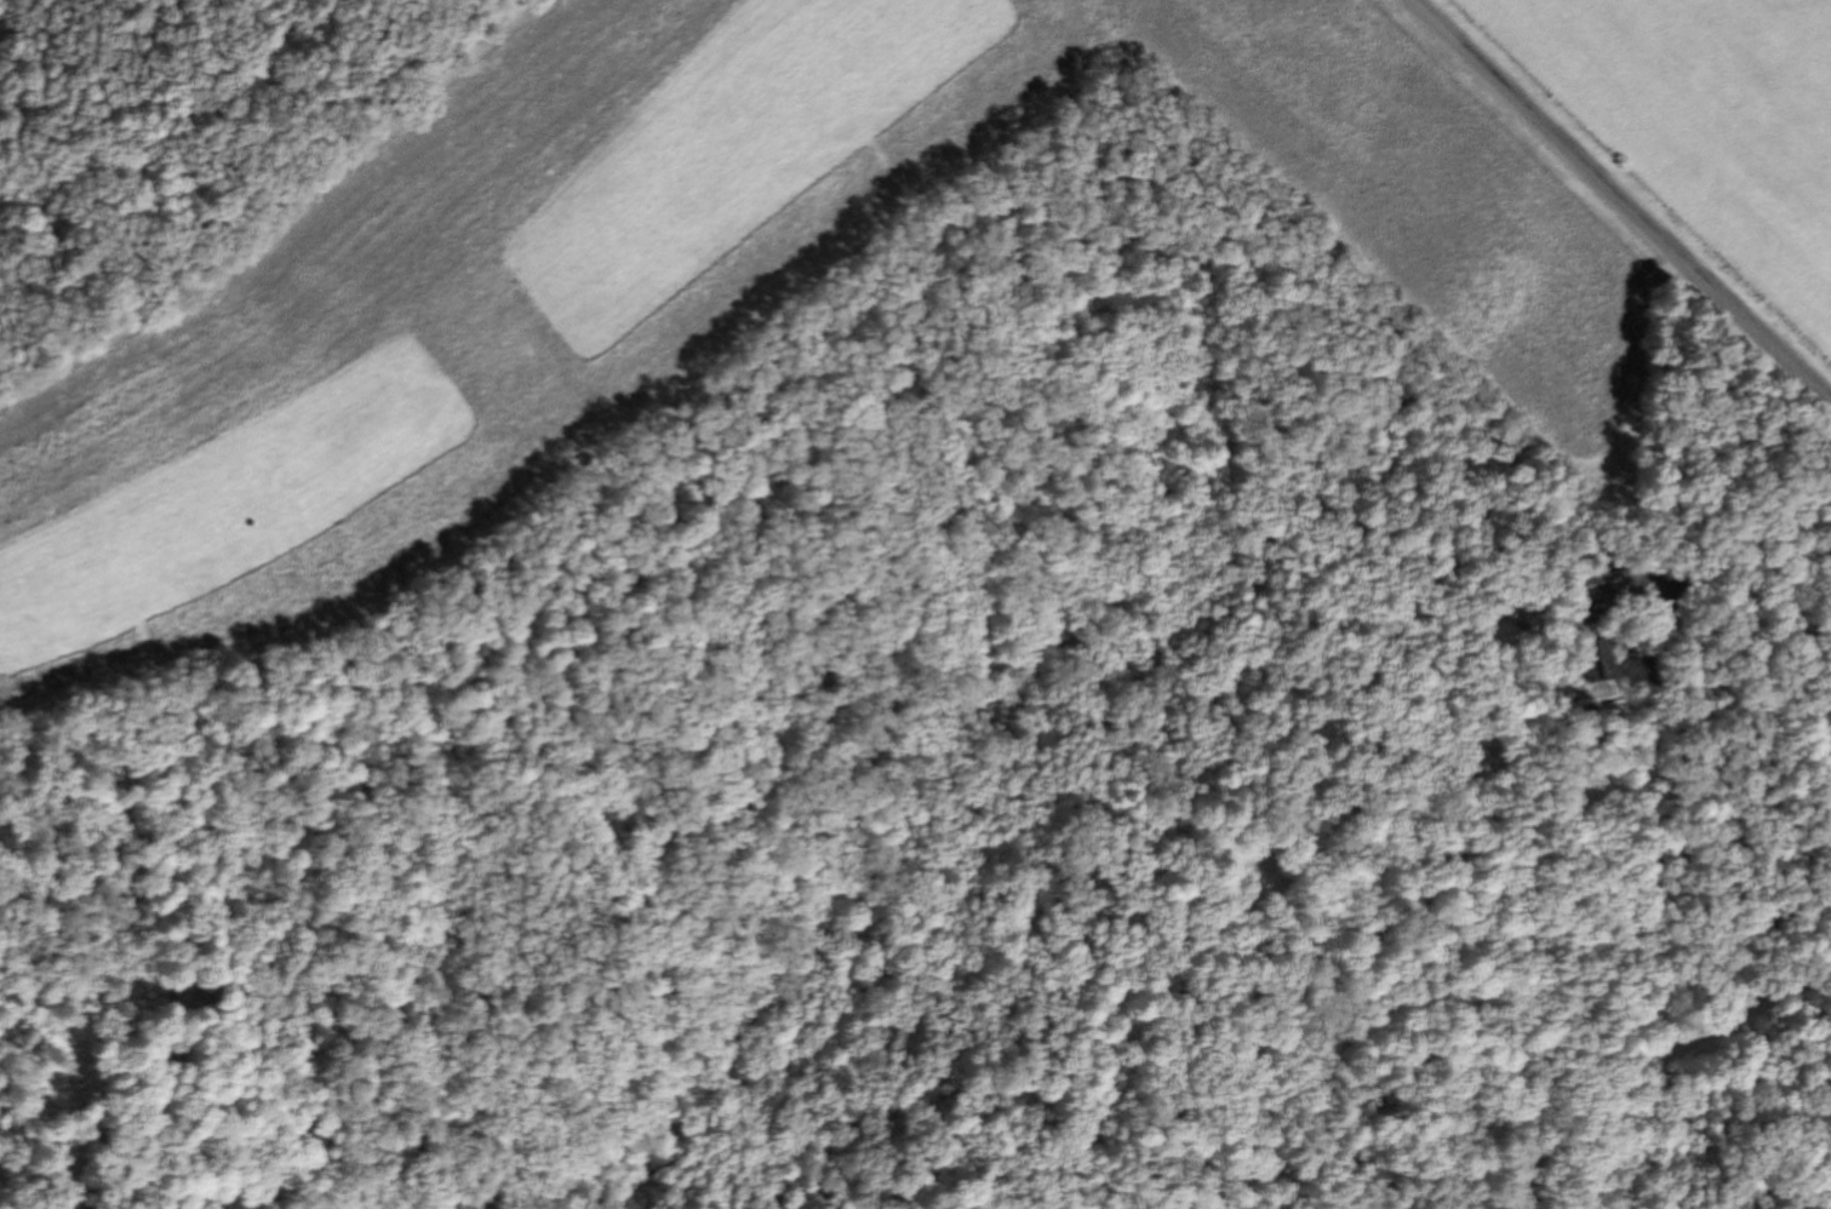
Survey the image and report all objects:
road: (1618, 202)
building: (1580, 584)
building: (1589, 659)

